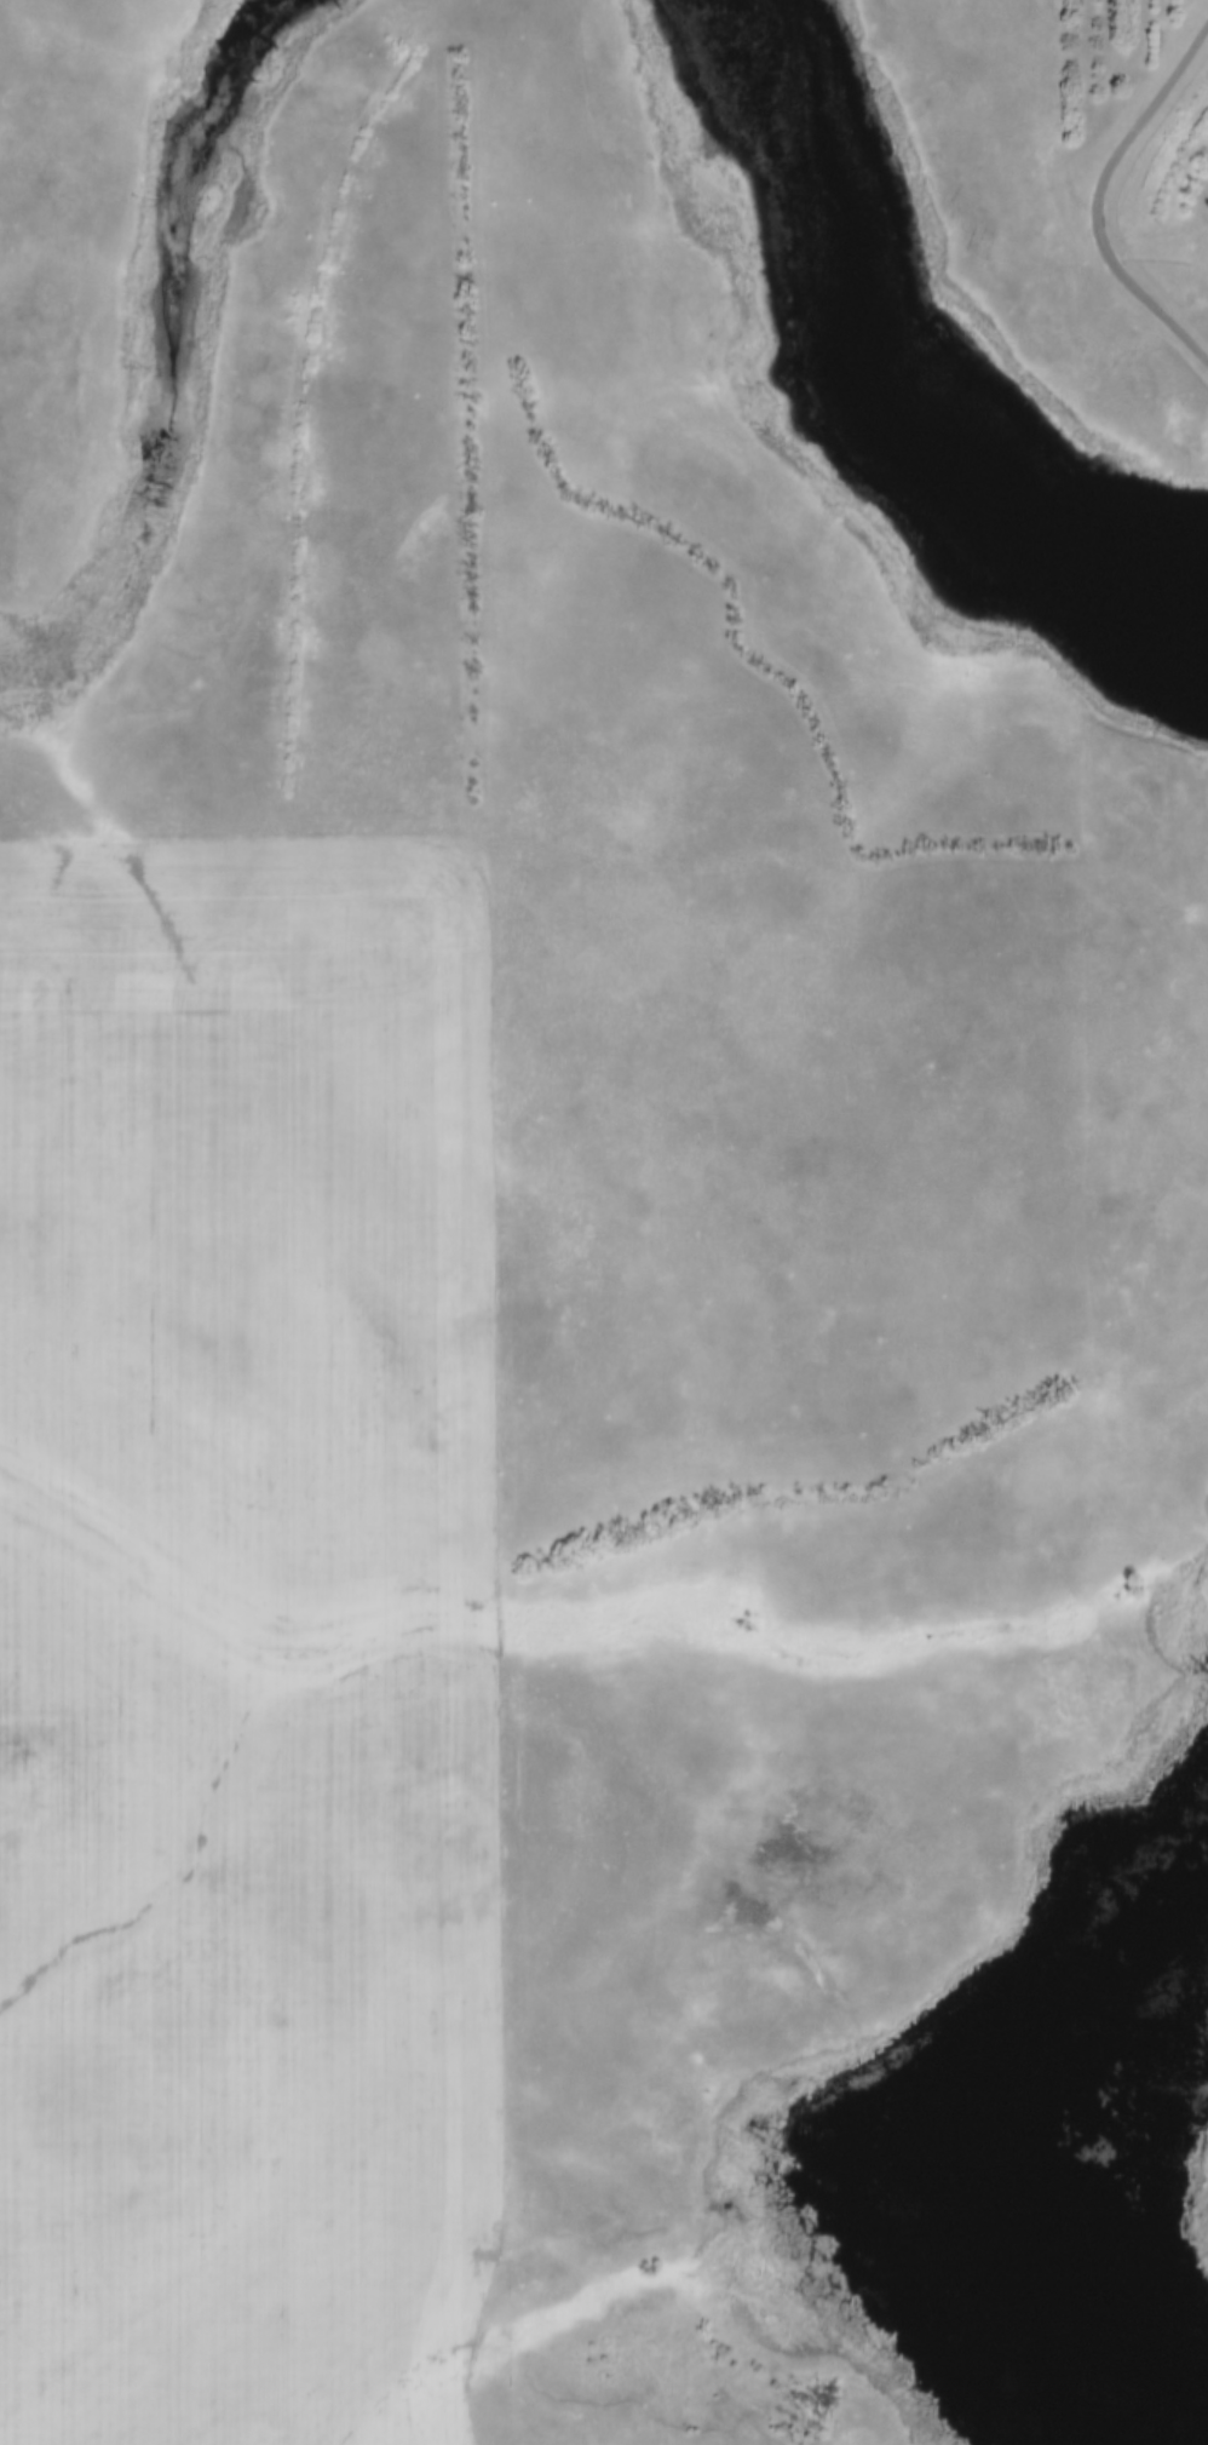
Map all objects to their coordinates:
road: (1098, 201)
road: (1160, 1442)

